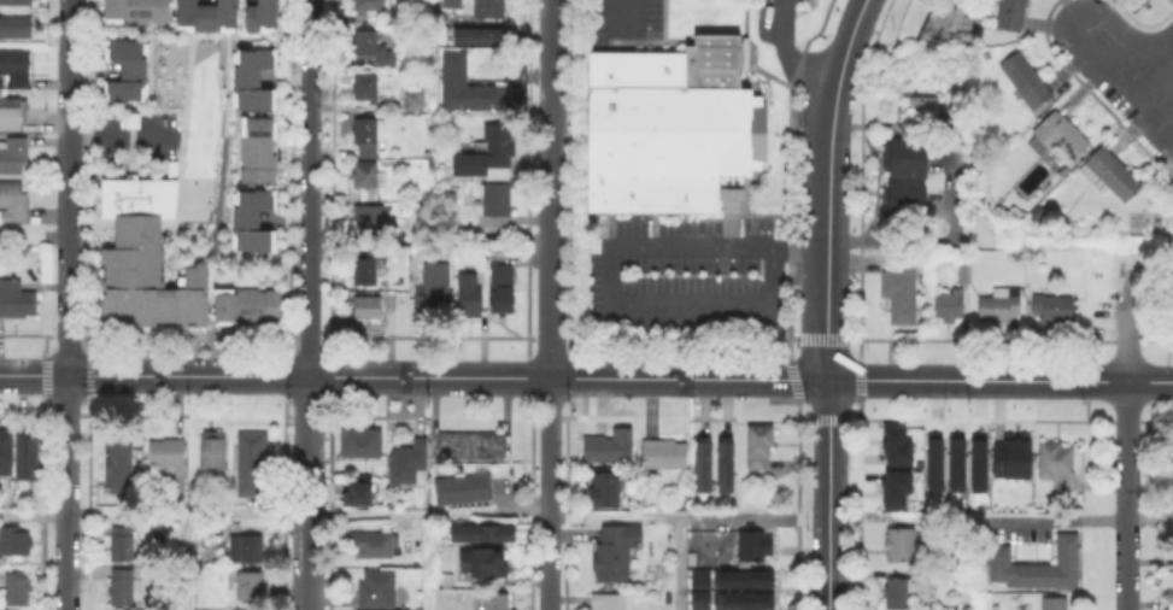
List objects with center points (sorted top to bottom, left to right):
building: (14, 1)
building: (451, 4)
building: (366, 5)
building: (134, 10)
building: (489, 10)
building: (204, 12)
road: (624, 13)
building: (258, 14)
building: (1011, 14)
road: (70, 20)
building: (14, 25)
building: (943, 27)
building: (485, 34)
building: (370, 48)
road: (1149, 48)
road: (788, 54)
building: (14, 68)
building: (124, 69)
road: (1124, 70)
building: (251, 77)
building: (1026, 80)
building: (465, 87)
building: (364, 88)
building: (414, 101)
building: (919, 111)
building: (11, 115)
road: (432, 118)
building: (676, 128)
building: (364, 131)
road: (122, 135)
building: (1058, 137)
building: (256, 147)
building: (910, 154)
building: (12, 156)
building: (487, 156)
building: (1112, 174)
building: (366, 176)
road: (827, 187)
road: (552, 189)
building: (365, 192)
building: (910, 193)
building: (12, 204)
building: (495, 204)
road: (68, 209)
building: (250, 218)
building: (368, 218)
building: (1036, 218)
road: (492, 236)
road: (800, 250)
building: (143, 257)
building: (364, 265)
building: (963, 275)
building: (503, 282)
building: (902, 288)
building: (434, 291)
building: (469, 291)
building: (14, 300)
building: (242, 304)
road: (309, 305)
road: (614, 305)
building: (999, 305)
building: (948, 306)
building: (365, 309)
building: (1052, 309)
road: (94, 376)
road: (248, 376)
road: (373, 377)
road: (797, 380)
road: (910, 380)
road: (600, 381)
traffic signals: (827, 381)
road: (1015, 381)
road: (1081, 381)
road: (1150, 382)
road: (1127, 429)
building: (360, 444)
building: (893, 444)
building: (470, 446)
building: (606, 446)
building: (758, 446)
building: (6, 456)
building: (27, 456)
building: (662, 456)
building: (1009, 456)
building: (164, 457)
building: (212, 457)
building: (1054, 461)
building: (704, 462)
building: (932, 462)
building: (975, 462)
building: (727, 463)
building: (954, 463)
building: (118, 465)
building: (251, 465)
building: (409, 465)
building: (892, 487)
building: (606, 488)
building: (464, 491)
road: (66, 492)
building: (356, 492)
road: (550, 494)
building: (194, 495)
road: (827, 495)
building: (643, 499)
road: (494, 512)
road: (1057, 520)
road: (1149, 520)
building: (224, 528)
building: (483, 529)
building: (14, 542)
building: (121, 546)
building: (373, 546)
building: (898, 546)
building: (753, 547)
building: (615, 551)
building: (252, 553)
road: (428, 561)
building: (482, 561)
road: (186, 562)
road: (678, 563)
building: (1038, 568)
building: (741, 577)
building: (696, 579)
building: (125, 586)
building: (14, 587)
building: (376, 590)
building: (904, 590)
building: (247, 591)
building: (697, 598)
building: (740, 599)
building: (609, 602)
building: (492, 603)
building: (1054, 604)

